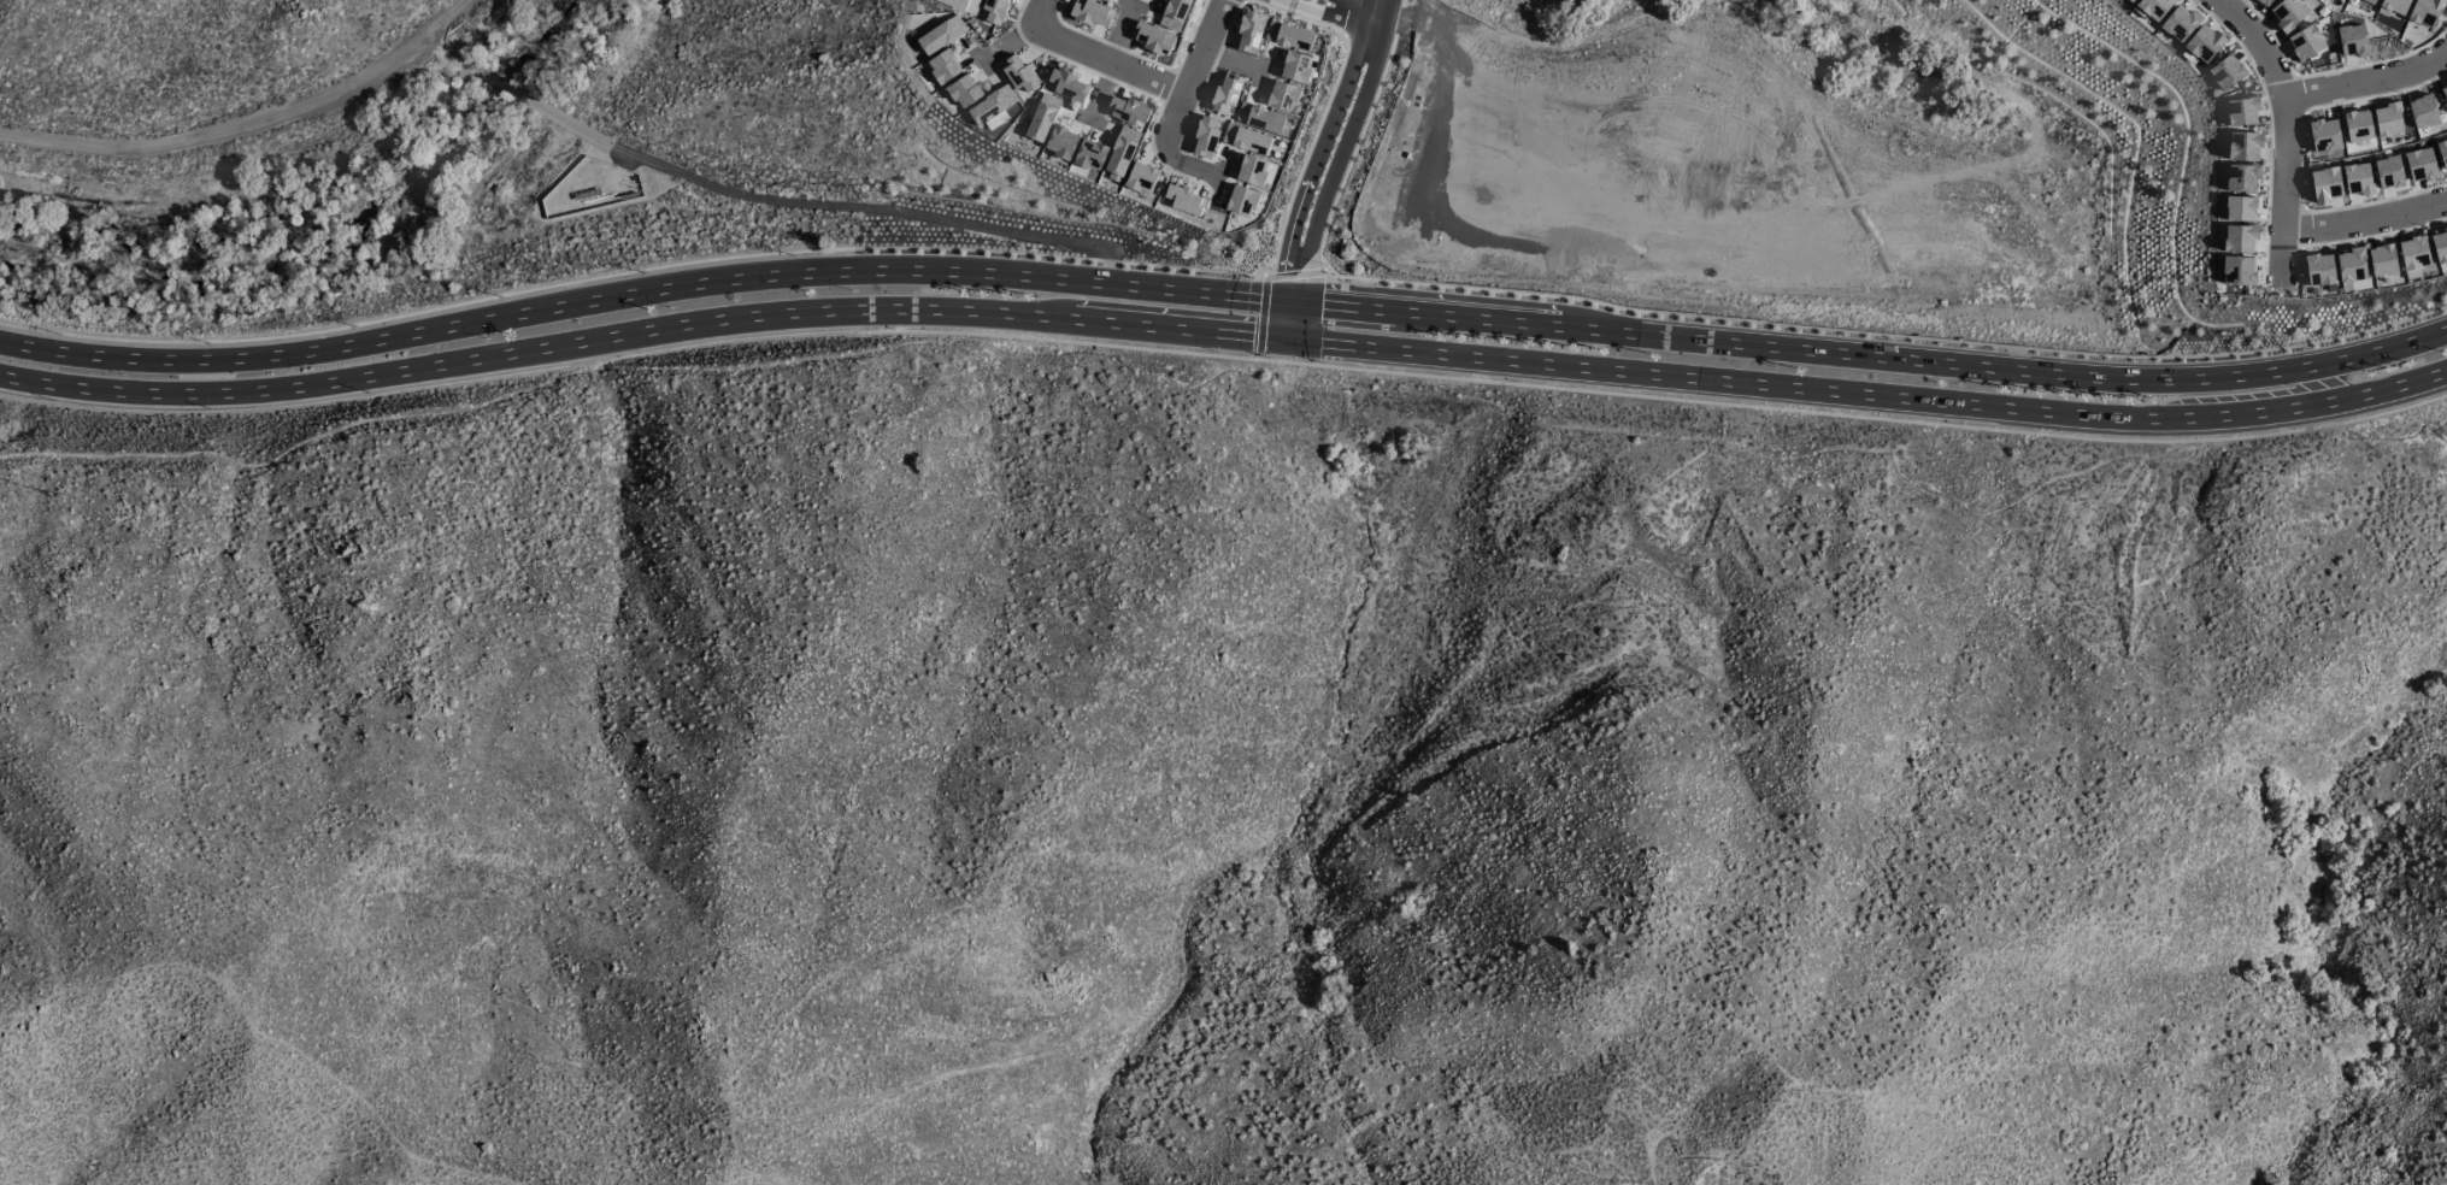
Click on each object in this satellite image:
building: (2130, 0)
building: (2265, 1)
building: (2370, 1)
building: (961, 4)
road: (1364, 5)
building: (2395, 5)
building: (2154, 7)
building: (995, 11)
building: (1090, 12)
building: (2424, 12)
road: (1330, 14)
building: (2287, 14)
road: (1347, 18)
road: (1437, 20)
building: (2178, 23)
building: (1167, 24)
building: (1249, 31)
building: (941, 35)
building: (1288, 36)
building: (1152, 39)
building: (2352, 40)
road: (1431, 41)
building: (2305, 42)
building: (2202, 43)
building: (943, 66)
building: (1295, 66)
building: (2225, 71)
building: (1018, 73)
road: (2369, 76)
road: (1135, 77)
building: (1067, 86)
road: (1705, 89)
building: (964, 90)
building: (2443, 90)
building: (1225, 94)
building: (1282, 95)
building: (992, 107)
building: (1127, 111)
building: (2241, 111)
building: (2422, 111)
building: (1042, 118)
building: (2387, 119)
building: (1267, 120)
road: (252, 125)
building: (2357, 126)
road: (2287, 131)
road: (1357, 135)
building: (2324, 136)
building: (1205, 138)
building: (1245, 138)
building: (1060, 142)
building: (2243, 146)
building: (2441, 148)
road: (1318, 149)
road: (1167, 151)
road: (1339, 151)
building: (1090, 154)
road: (1304, 154)
building: (1116, 160)
building: (2420, 164)
building: (1252, 170)
building: (2388, 172)
building: (2242, 177)
building: (1141, 178)
building: (2357, 178)
building: (2325, 184)
building: (1183, 199)
road: (761, 200)
building: (1241, 200)
building: (2240, 208)
road: (2366, 220)
road: (1690, 222)
river: (334, 230)
building: (2239, 238)
building: (2440, 244)
building: (2413, 257)
road: (1106, 260)
building: (2381, 260)
building: (2351, 265)
road: (1189, 269)
building: (2318, 270)
building: (2237, 271)
road: (1294, 273)
road: (548, 284)
road: (642, 296)
traffic signals: (1289, 302)
road: (1260, 318)
road: (1288, 320)
road: (642, 325)
road: (1887, 335)
traffic signals: (1288, 338)
road: (1870, 355)
road: (1869, 393)
road: (1653, 396)

